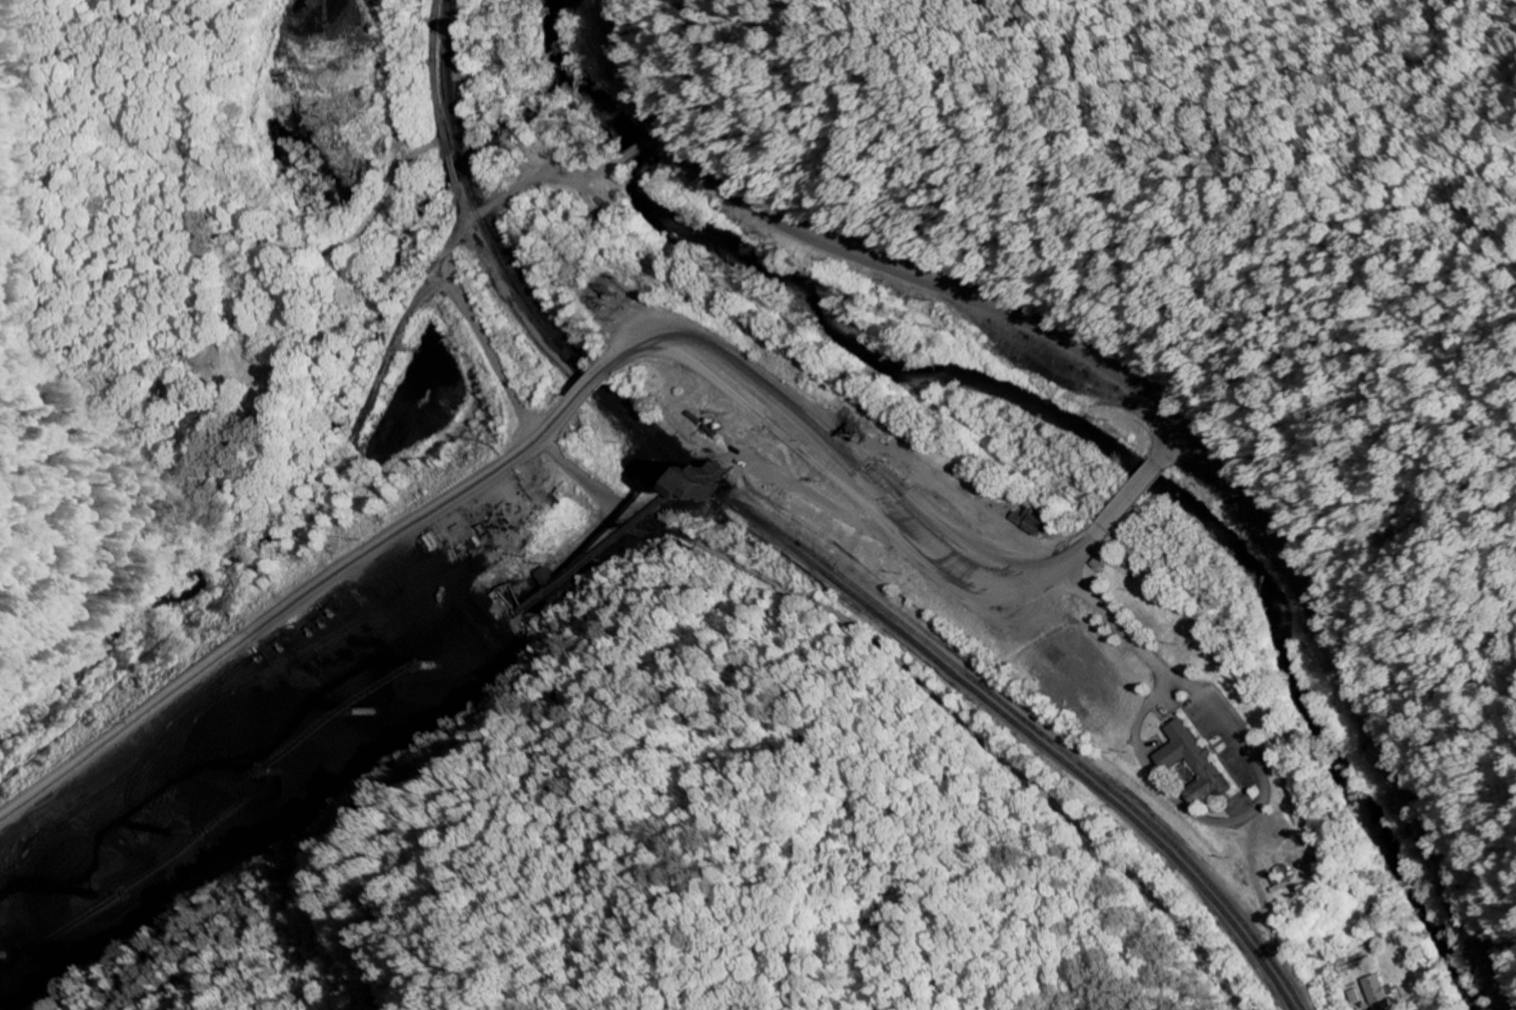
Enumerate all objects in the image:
road: (628, 66)
road: (597, 385)
road: (562, 420)
road: (1172, 443)
road: (1207, 450)
road: (857, 478)
building: (703, 487)
road: (464, 491)
road: (1133, 494)
railway: (793, 553)
building: (1192, 764)
building: (1376, 993)

